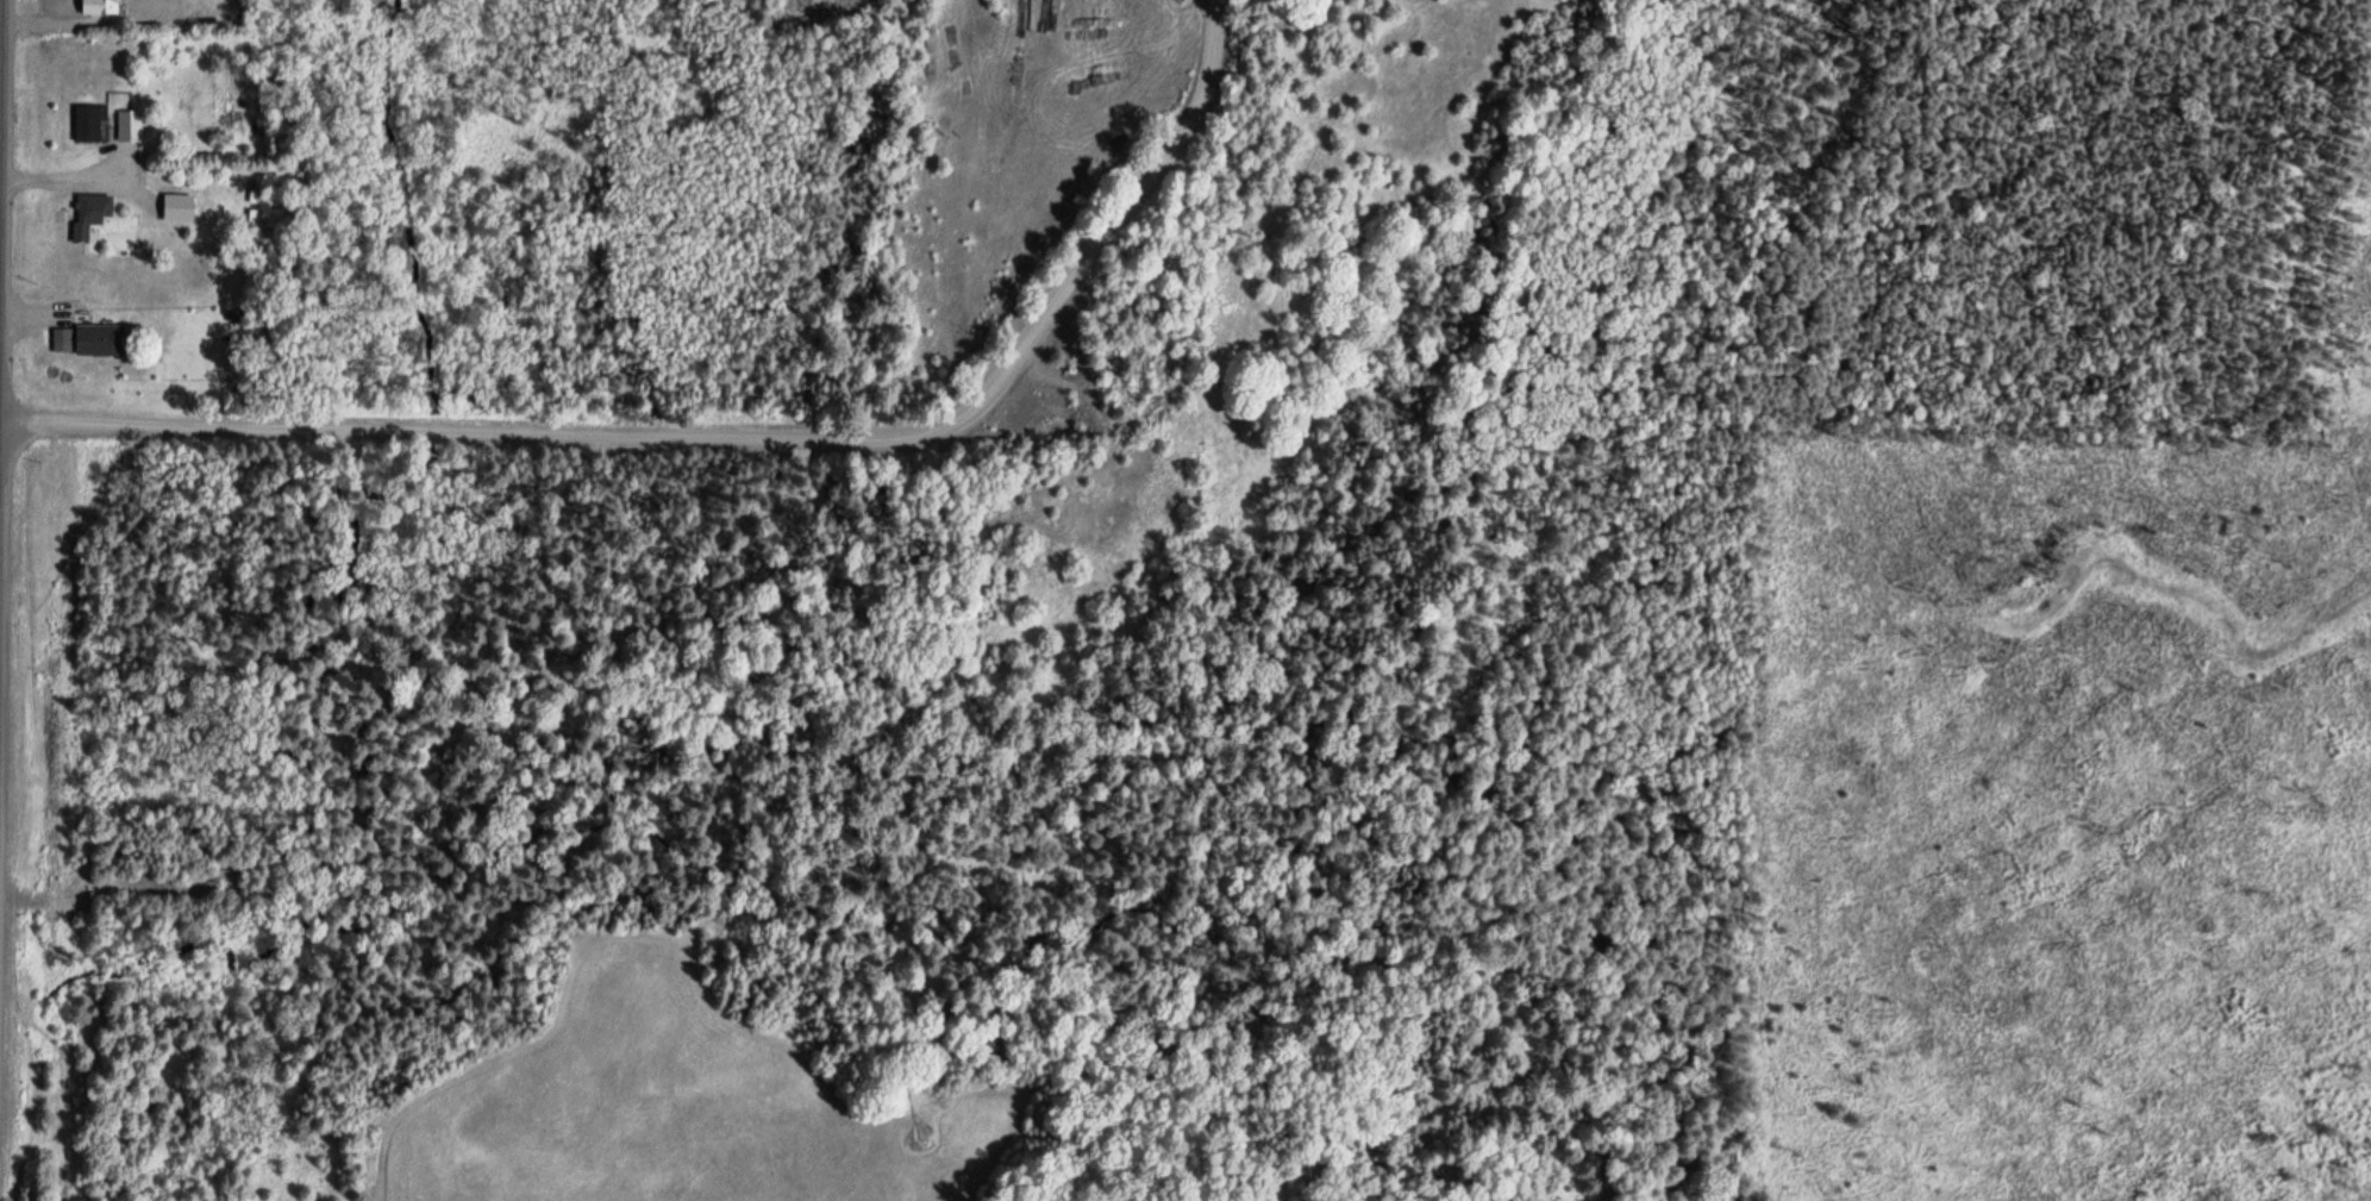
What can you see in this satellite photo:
building: (96, 5)
building: (86, 117)
building: (126, 123)
building: (175, 201)
building: (87, 207)
building: (57, 334)
building: (95, 334)
road: (733, 436)

